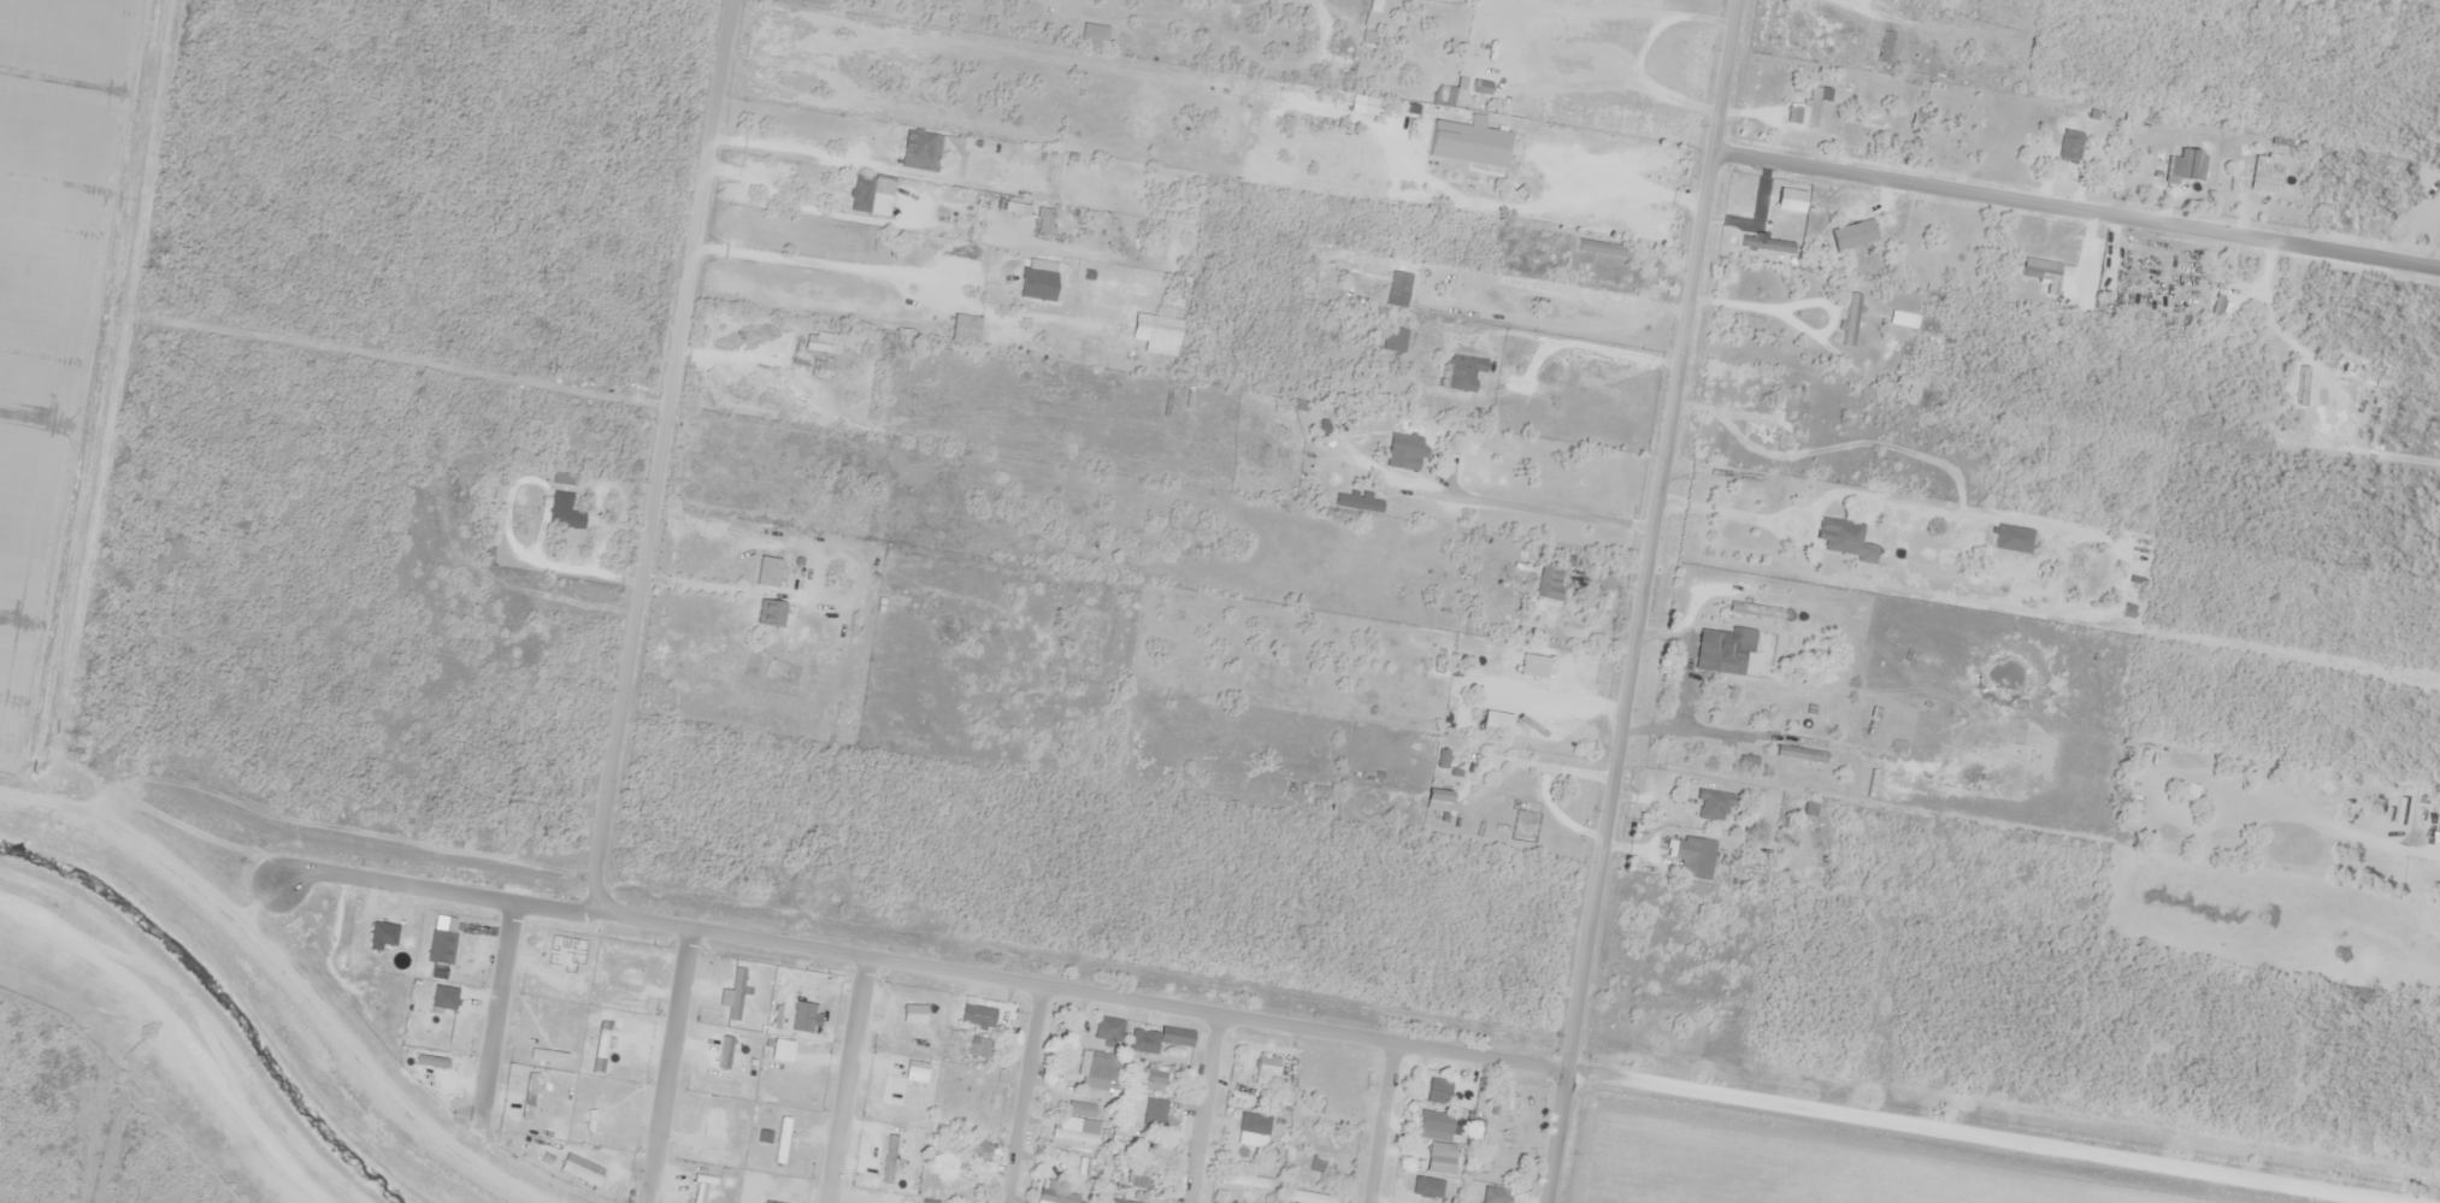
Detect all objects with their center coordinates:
building: (1481, 29)
building: (1472, 85)
building: (2067, 147)
building: (918, 151)
building: (2156, 164)
building: (2188, 165)
building: (2270, 171)
building: (2242, 172)
building: (1580, 188)
building: (865, 197)
road: (2077, 208)
building: (1041, 222)
building: (1601, 249)
building: (2037, 273)
building: (1396, 289)
building: (1847, 319)
building: (1902, 319)
building: (1391, 341)
building: (819, 342)
building: (1462, 372)
building: (1797, 415)
building: (1399, 453)
road: (660, 456)
building: (561, 512)
building: (1839, 538)
building: (765, 572)
building: (1546, 582)
road: (1648, 602)
building: (768, 613)
building: (1721, 650)
road: (66, 674)
building: (1711, 806)
building: (1691, 857)
road: (915, 966)
road: (495, 1013)
building: (974, 1016)
building: (1107, 1030)
building: (1156, 1039)
building: (980, 1048)
road: (667, 1066)
building: (1263, 1066)
building: (1096, 1069)
building: (1151, 1078)
road: (843, 1080)
building: (1428, 1087)
road: (1025, 1095)
road: (1202, 1109)
building: (1503, 1110)
building: (1150, 1111)
building: (1433, 1118)
road: (1383, 1125)
road: (1979, 1136)
building: (1071, 1137)
building: (1128, 1139)
building: (971, 1152)
building: (1437, 1158)
building: (1075, 1167)
building: (1142, 1177)
building: (1244, 1178)
building: (1051, 1192)
building: (1492, 1195)
building: (1309, 1198)
building: (1120, 1201)
building: (926, 1202)

